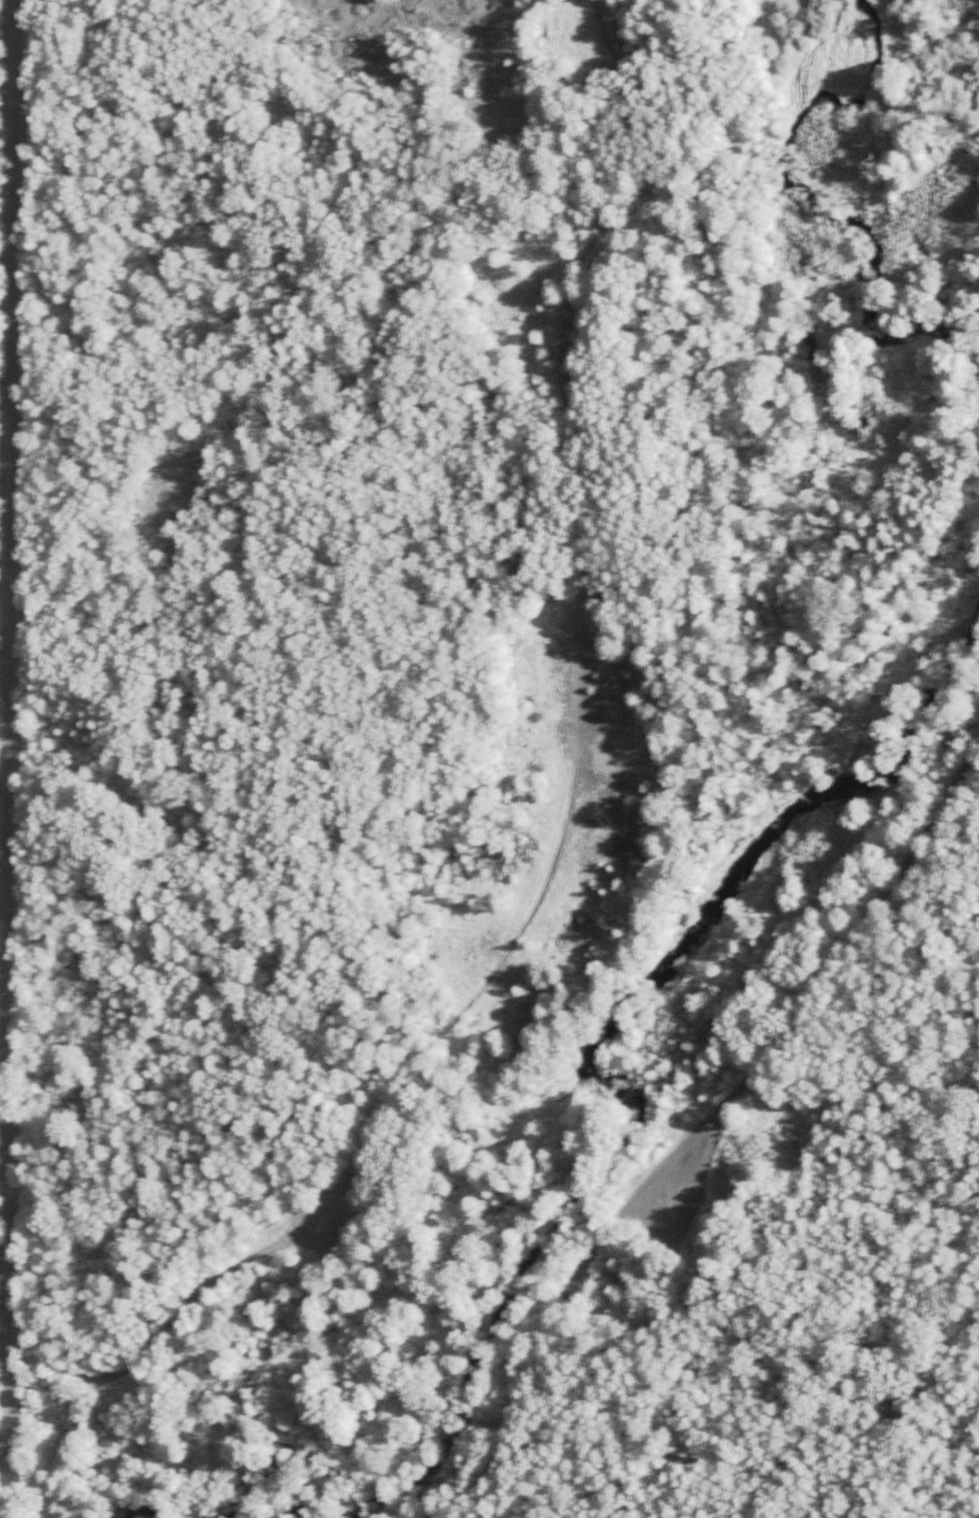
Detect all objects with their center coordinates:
road: (13, 724)
road: (6, 898)
road: (828, 946)

